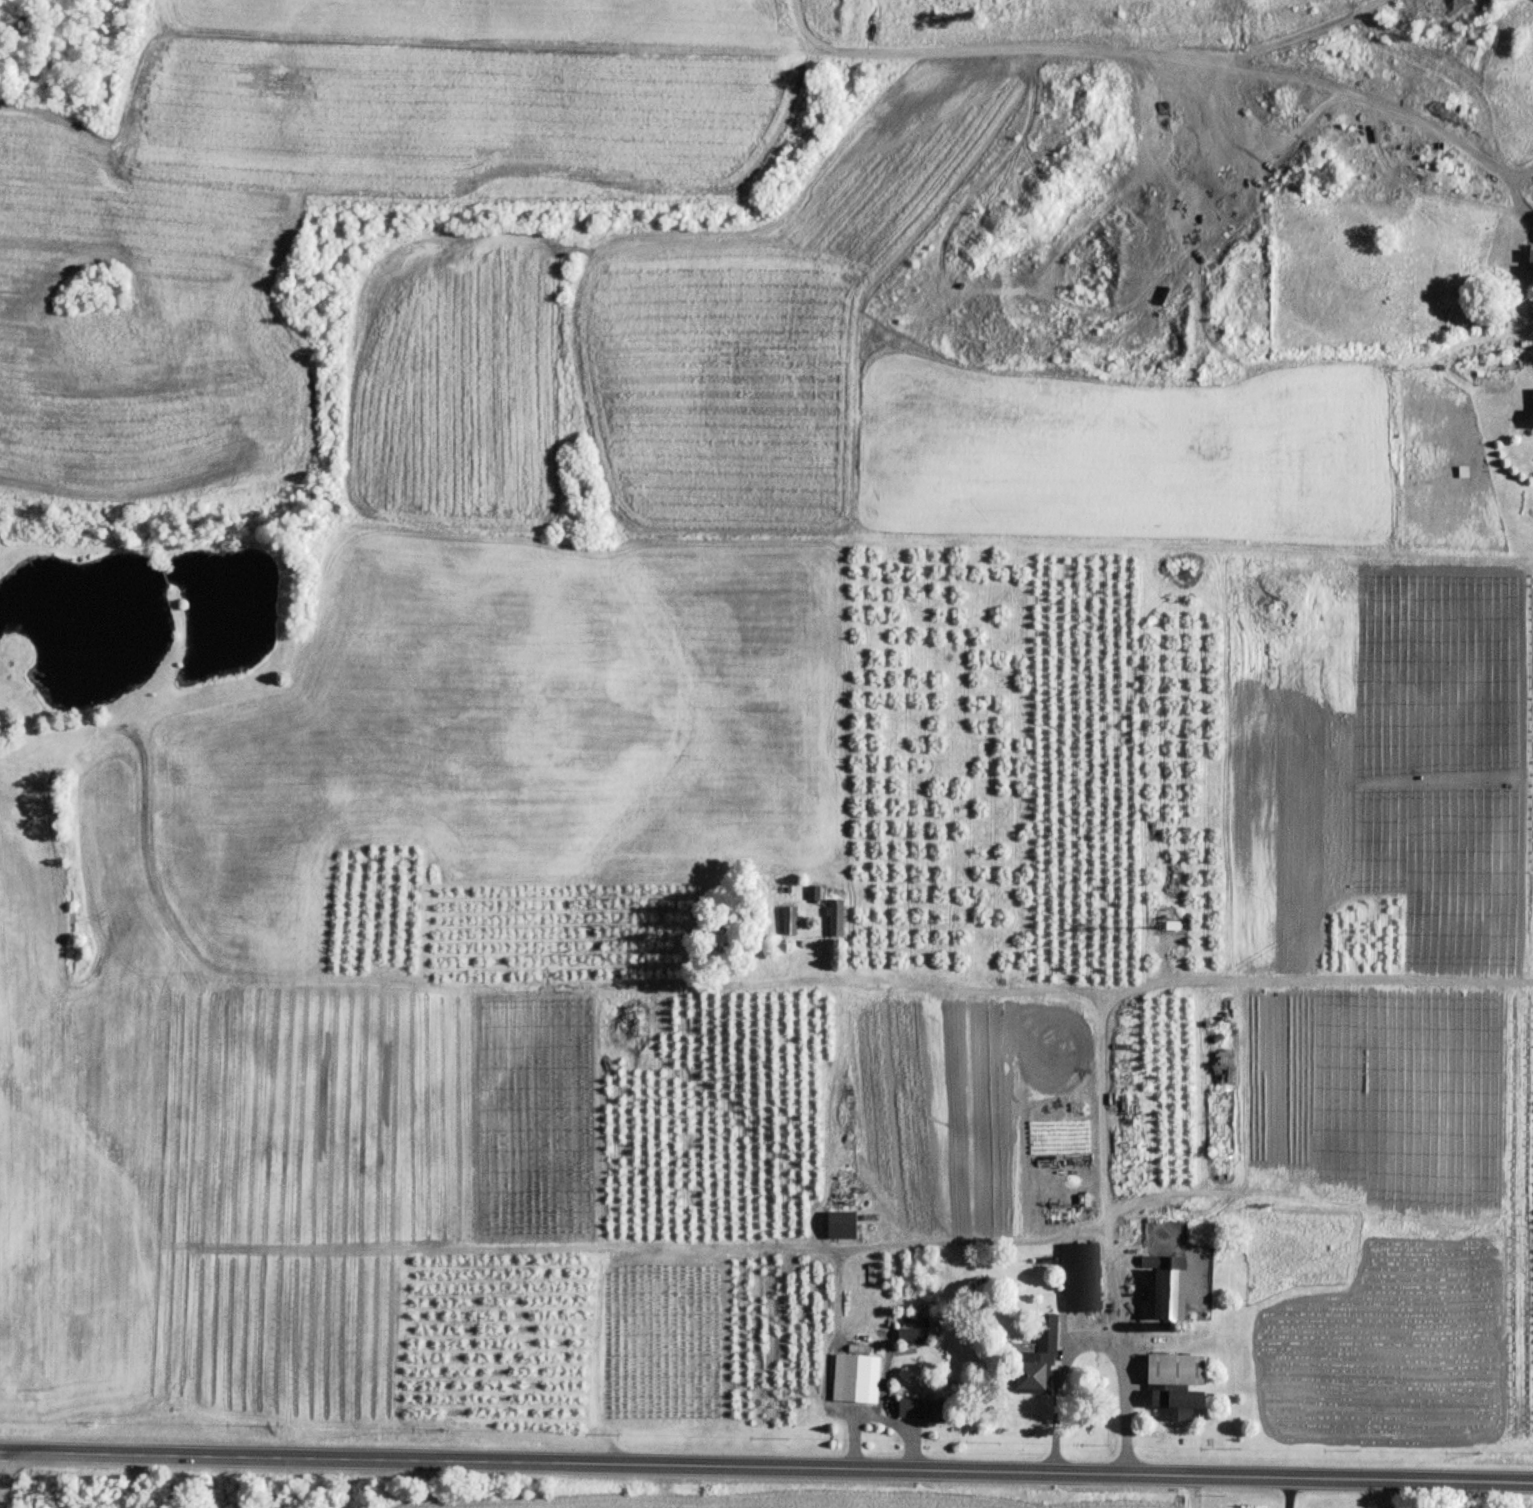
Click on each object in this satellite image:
road: (1307, 32)
road: (1175, 56)
building: (1532, 256)
building: (815, 894)
building: (790, 921)
building: (837, 923)
building: (1174, 927)
road: (1145, 987)
road: (984, 991)
building: (1222, 1124)
building: (1128, 1152)
building: (843, 1226)
road: (883, 1245)
building: (1082, 1279)
building: (1169, 1288)
building: (912, 1336)
road: (1095, 1337)
building: (1038, 1362)
building: (1177, 1372)
building: (857, 1380)
building: (1180, 1407)
building: (921, 1411)
road: (878, 1416)
road: (766, 1468)
quarry: (182, 1493)
road: (1, 1496)

